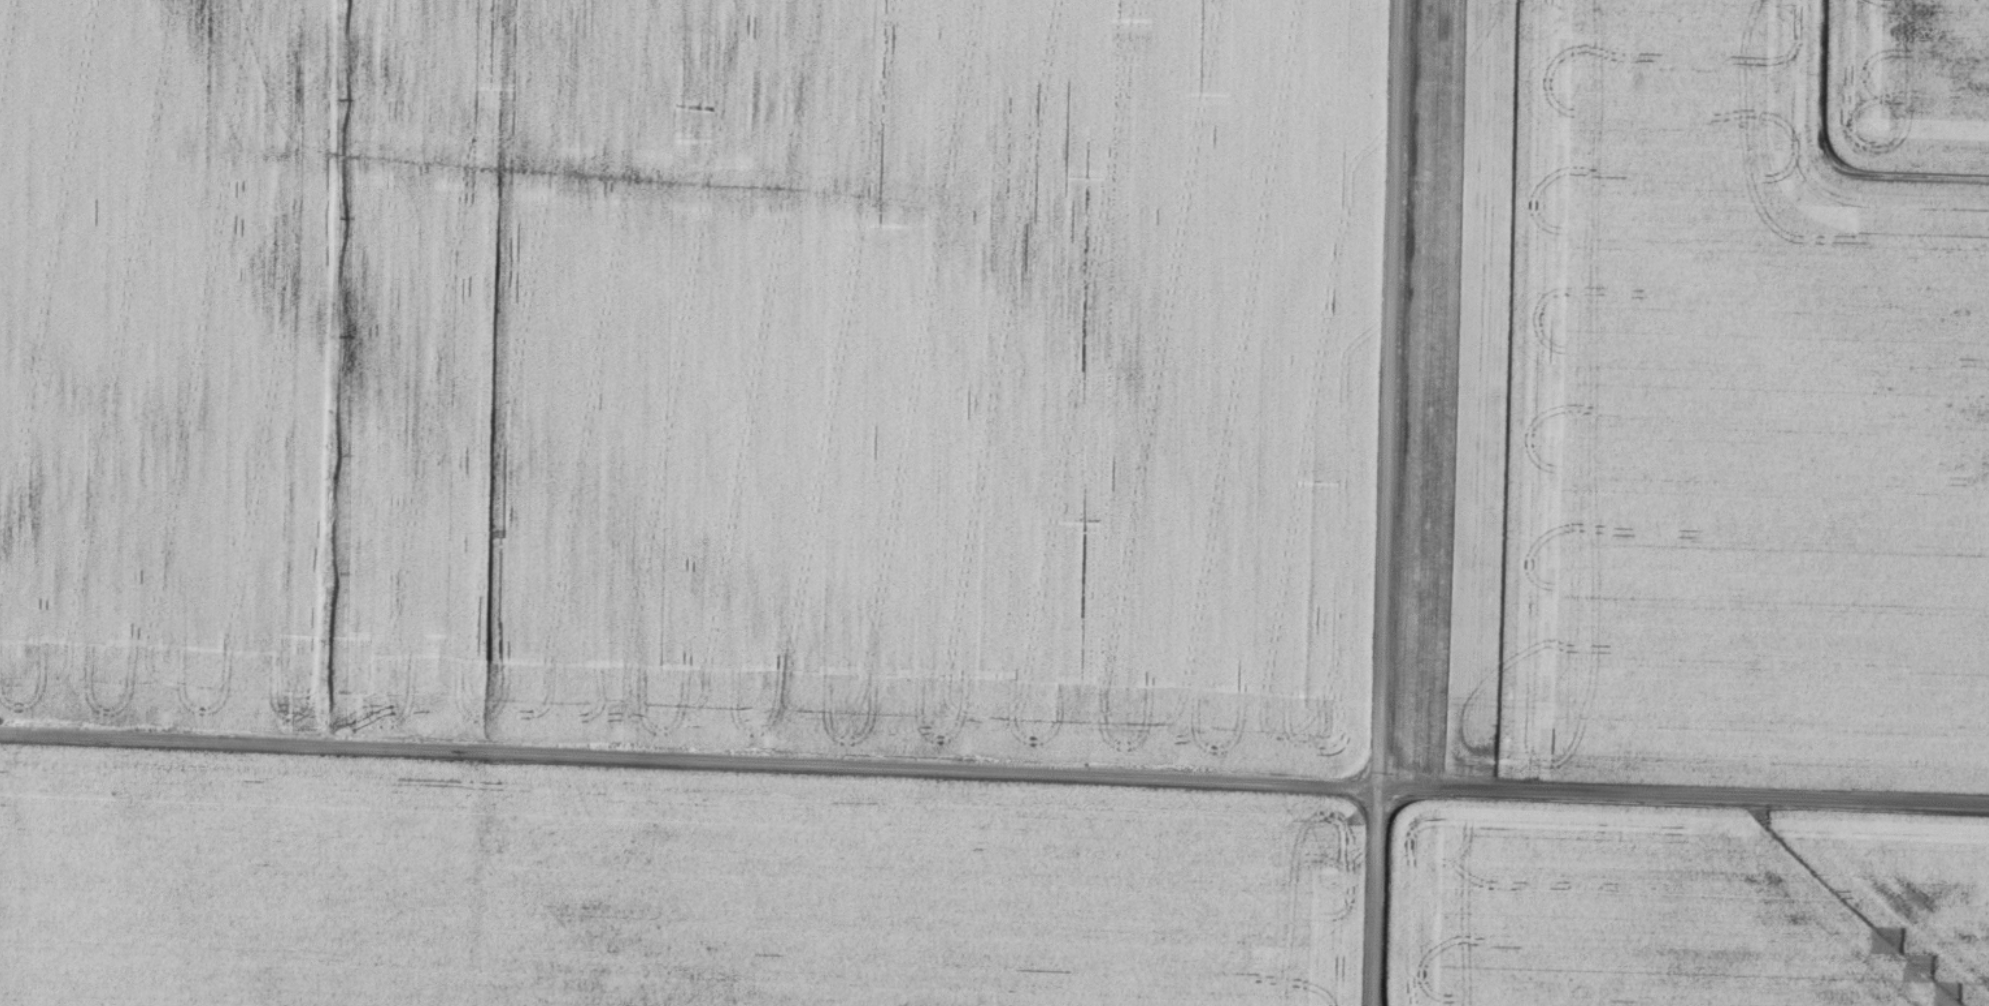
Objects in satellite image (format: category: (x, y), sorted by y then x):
road: (1389, 389)
road: (994, 765)
road: (1374, 892)

